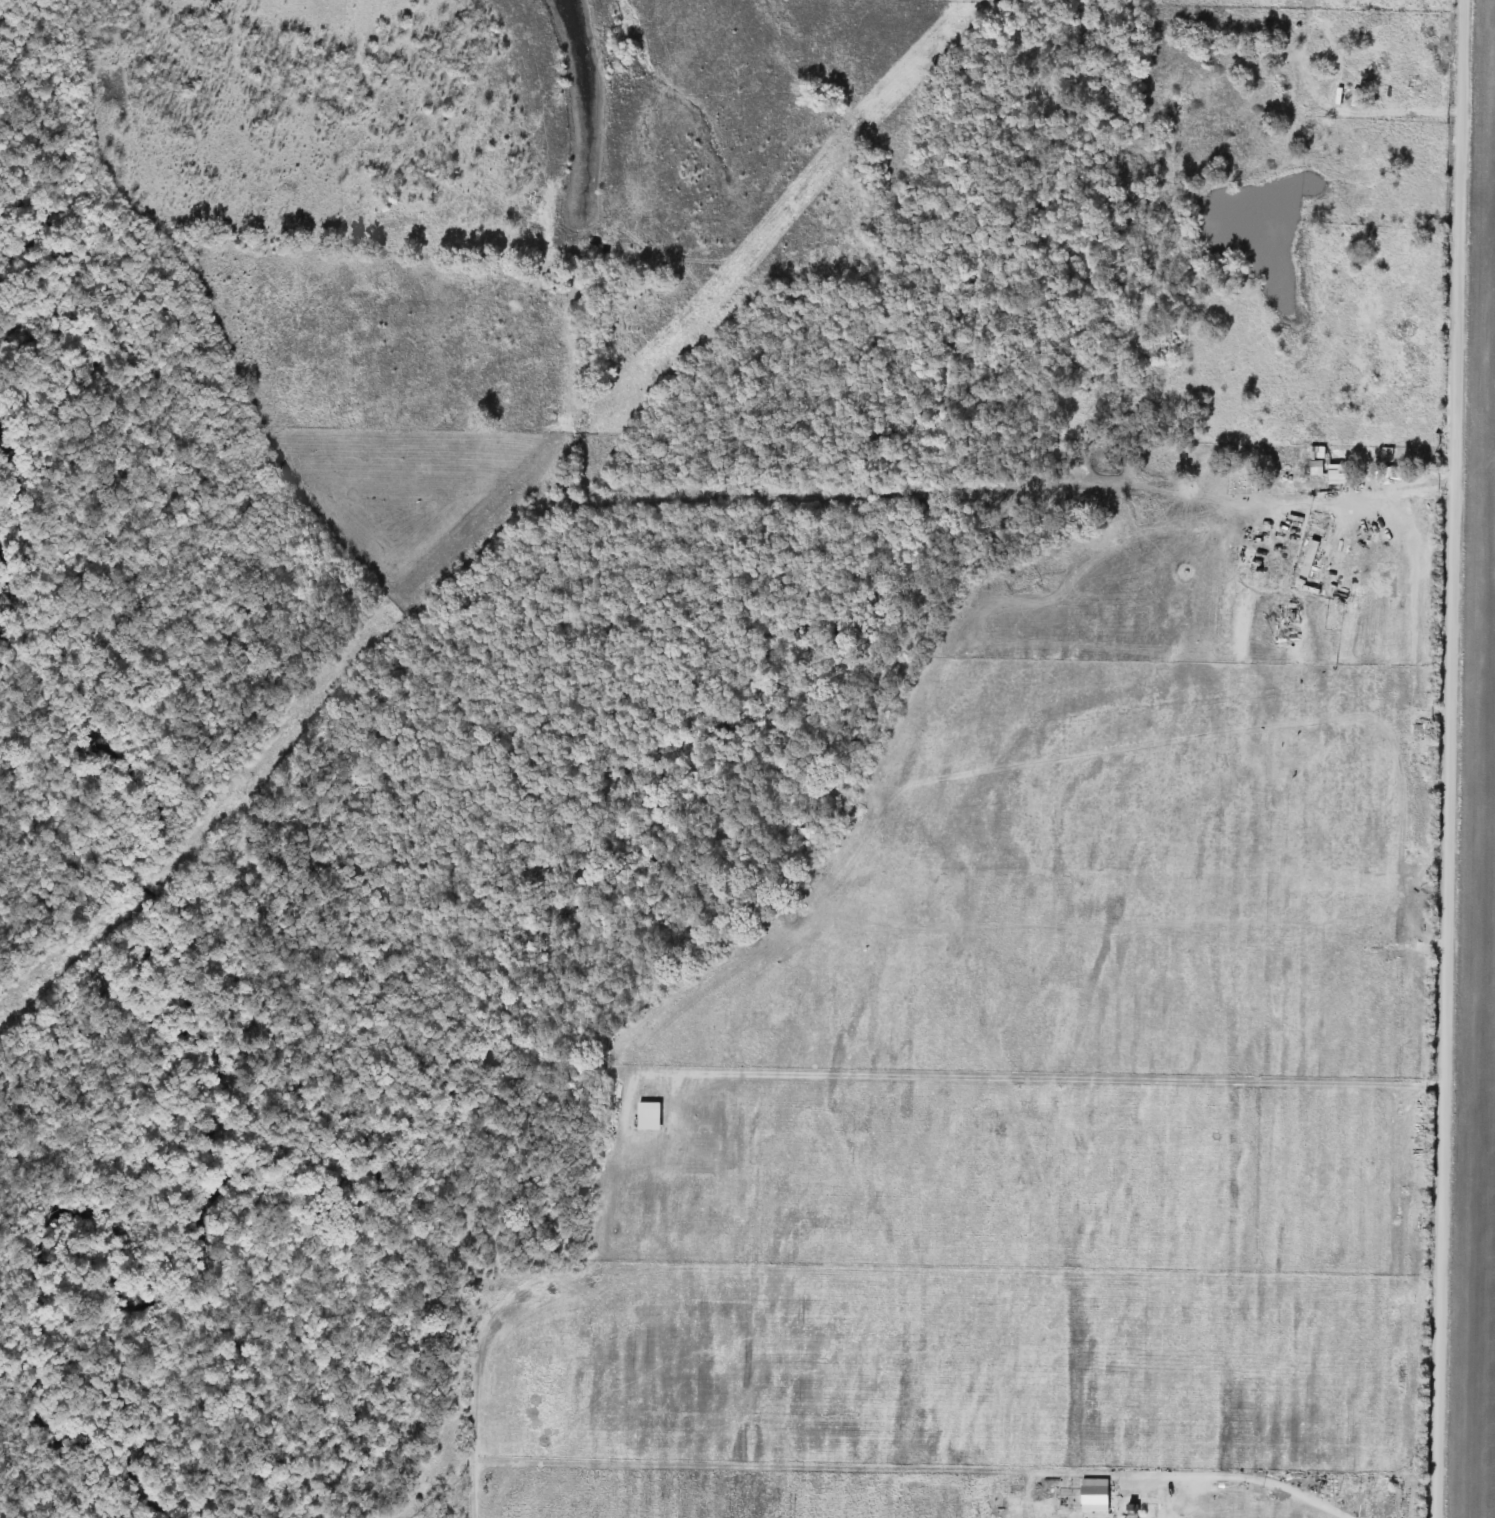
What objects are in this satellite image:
road: (1445, 759)
road: (1245, 1479)

